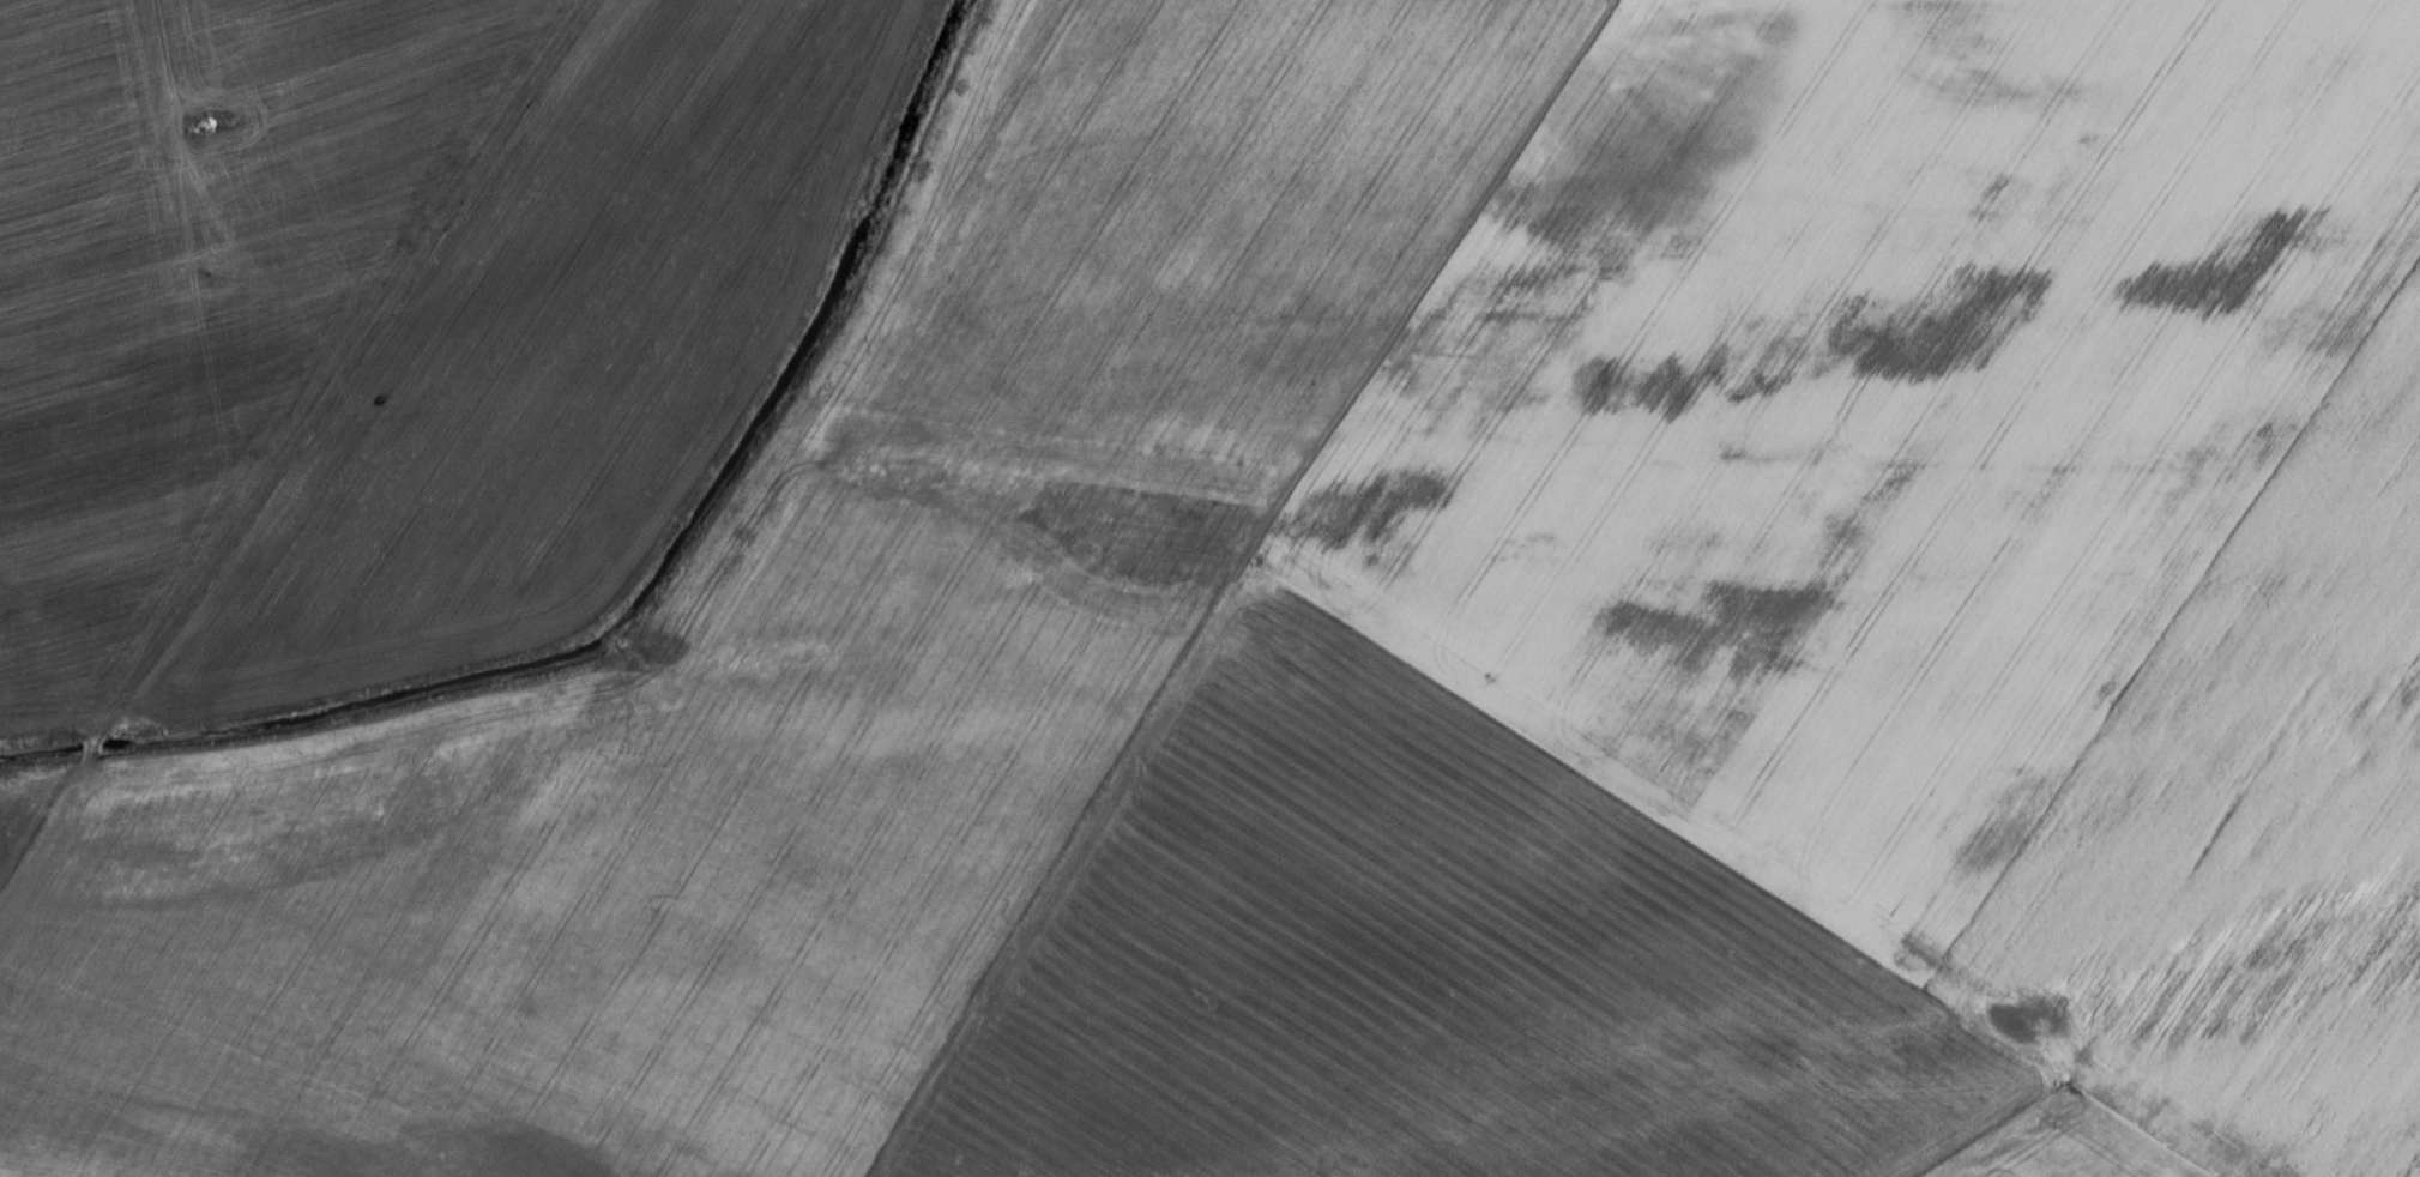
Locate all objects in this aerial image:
crop: (1920, 458)
crop: (2297, 961)
crop: (1413, 965)
crop: (2070, 1147)
crop: (2414, 1169)

